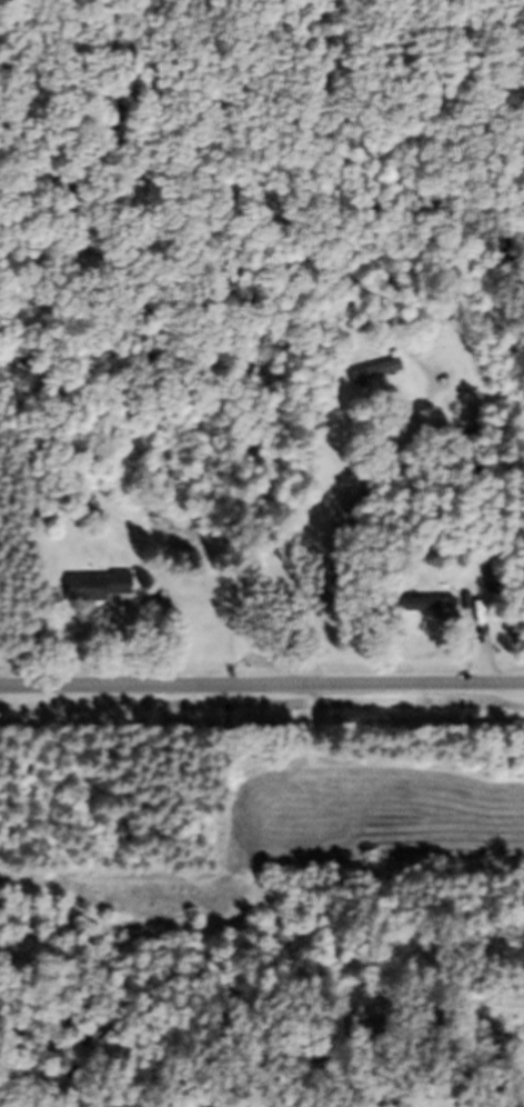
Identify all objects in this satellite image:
building: (371, 373)
building: (97, 590)
building: (473, 610)
building: (441, 612)
road: (262, 686)

